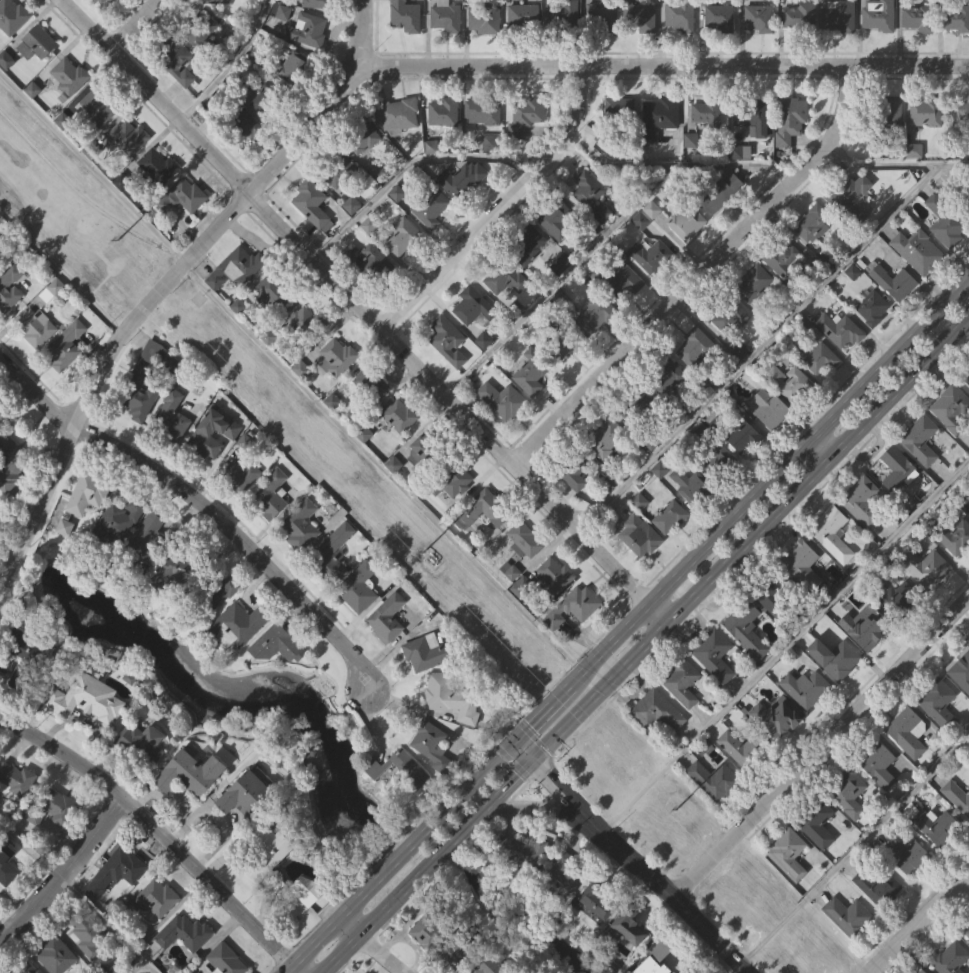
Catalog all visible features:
building: (100, 1)
building: (216, 1)
building: (316, 4)
building: (282, 10)
building: (102, 14)
building: (562, 15)
building: (681, 15)
building: (878, 15)
building: (405, 16)
building: (445, 16)
building: (838, 16)
building: (11, 17)
building: (600, 17)
building: (638, 17)
building: (719, 17)
building: (758, 17)
building: (800, 17)
building: (521, 18)
building: (918, 18)
building: (483, 19)
building: (956, 19)
building: (221, 21)
road: (131, 24)
building: (199, 28)
building: (306, 30)
road: (365, 34)
building: (407, 41)
building: (38, 42)
building: (283, 43)
building: (639, 43)
building: (563, 44)
building: (881, 46)
building: (525, 47)
building: (682, 47)
building: (801, 47)
building: (13, 48)
building: (448, 48)
building: (605, 48)
building: (841, 48)
building: (721, 49)
building: (760, 49)
building: (920, 50)
building: (957, 50)
building: (486, 52)
building: (176, 60)
building: (310, 61)
building: (204, 62)
road: (229, 65)
building: (294, 68)
road: (373, 68)
building: (42, 73)
building: (68, 76)
building: (181, 92)
building: (267, 97)
building: (295, 98)
building: (76, 105)
building: (94, 109)
building: (483, 111)
building: (623, 112)
building: (927, 112)
building: (443, 113)
building: (706, 113)
building: (659, 114)
building: (752, 114)
building: (893, 114)
building: (395, 115)
building: (525, 116)
building: (958, 117)
building: (789, 120)
building: (241, 126)
building: (266, 129)
building: (127, 137)
building: (362, 137)
building: (98, 140)
building: (621, 140)
building: (894, 143)
building: (445, 144)
building: (485, 144)
building: (928, 144)
building: (967, 144)
building: (708, 145)
building: (399, 146)
building: (528, 147)
building: (755, 149)
building: (660, 150)
building: (792, 151)
building: (247, 155)
road: (675, 162)
road: (893, 164)
road: (95, 165)
road: (405, 167)
building: (156, 168)
building: (336, 168)
building: (129, 169)
building: (366, 169)
building: (693, 172)
building: (433, 178)
building: (461, 180)
building: (915, 182)
building: (719, 194)
building: (181, 197)
building: (591, 197)
building: (160, 198)
building: (341, 202)
building: (838, 203)
building: (312, 205)
building: (431, 206)
road: (500, 209)
building: (462, 210)
building: (556, 220)
building: (811, 222)
building: (686, 223)
building: (723, 225)
building: (946, 226)
building: (593, 227)
building: (184, 228)
building: (851, 229)
building: (313, 234)
building: (403, 236)
building: (433, 239)
power tower: (117, 241)
building: (653, 241)
building: (526, 245)
building: (559, 250)
building: (919, 252)
building: (689, 253)
building: (650, 257)
building: (814, 257)
building: (950, 261)
building: (368, 263)
building: (784, 264)
building: (404, 267)
building: (235, 269)
road: (697, 274)
building: (503, 276)
building: (529, 277)
road: (560, 279)
building: (616, 281)
building: (894, 281)
building: (753, 282)
building: (919, 282)
building: (9, 286)
building: (652, 287)
building: (784, 289)
building: (51, 290)
building: (367, 291)
building: (271, 292)
building: (563, 295)
building: (237, 300)
road: (353, 303)
building: (854, 303)
building: (471, 305)
building: (872, 308)
building: (507, 309)
building: (623, 311)
building: (595, 312)
building: (729, 313)
building: (896, 314)
building: (756, 315)
building: (11, 319)
building: (305, 322)
building: (274, 325)
building: (35, 327)
building: (843, 330)
building: (472, 336)
building: (556, 339)
building: (874, 339)
building: (447, 340)
building: (65, 345)
building: (596, 345)
building: (693, 346)
road: (757, 346)
building: (733, 347)
building: (304, 351)
building: (335, 356)
building: (820, 358)
building: (38, 359)
building: (842, 361)
road: (893, 361)
building: (531, 371)
building: (450, 372)
building: (714, 373)
building: (665, 374)
building: (966, 375)
building: (69, 377)
building: (695, 377)
building: (138, 378)
building: (563, 378)
building: (791, 383)
building: (368, 384)
road: (900, 387)
building: (339, 389)
building: (822, 390)
building: (502, 399)
building: (533, 404)
building: (635, 405)
building: (668, 408)
building: (770, 408)
building: (952, 408)
building: (151, 410)
building: (791, 413)
building: (171, 415)
building: (374, 415)
building: (399, 415)
building: (504, 431)
building: (334, 432)
building: (640, 432)
building: (205, 436)
building: (605, 436)
building: (742, 436)
building: (771, 439)
building: (919, 440)
building: (952, 440)
building: (401, 447)
road: (824, 448)
building: (174, 450)
building: (427, 450)
building: (9, 462)
building: (205, 464)
building: (723, 464)
building: (898, 464)
building: (573, 468)
building: (608, 468)
building: (745, 468)
building: (922, 471)
building: (239, 474)
building: (450, 478)
building: (423, 482)
building: (690, 484)
building: (87, 492)
building: (968, 493)
building: (11, 494)
building: (271, 494)
building: (898, 499)
building: (862, 501)
building: (242, 506)
building: (483, 509)
building: (576, 509)
building: (457, 513)
road: (202, 514)
building: (690, 514)
building: (669, 516)
building: (118, 519)
building: (303, 519)
road: (733, 523)
building: (90, 525)
building: (273, 527)
building: (830, 530)
building: (864, 533)
building: (641, 535)
building: (951, 535)
road: (749, 538)
building: (144, 539)
building: (523, 540)
building: (482, 543)
building: (672, 548)
building: (120, 554)
building: (330, 554)
power tower: (422, 555)
building: (303, 557)
building: (803, 564)
building: (643, 567)
building: (835, 567)
building: (926, 567)
building: (957, 567)
road: (14, 568)
building: (149, 570)
building: (171, 570)
building: (527, 571)
building: (555, 575)
building: (335, 584)
building: (358, 586)
building: (213, 594)
building: (805, 596)
building: (895, 597)
building: (927, 599)
building: (776, 600)
building: (512, 602)
building: (170, 606)
building: (572, 607)
road: (657, 613)
building: (522, 616)
building: (386, 617)
building: (360, 619)
building: (743, 623)
building: (236, 625)
building: (772, 626)
building: (898, 627)
building: (868, 629)
building: (575, 638)
road: (614, 640)
building: (275, 644)
building: (389, 649)
road: (786, 649)
building: (431, 652)
building: (714, 654)
building: (239, 657)
building: (868, 658)
building: (19, 659)
building: (748, 659)
building: (837, 659)
building: (961, 669)
building: (278, 676)
building: (682, 682)
building: (716, 686)
building: (806, 688)
building: (839, 690)
building: (441, 692)
road: (597, 692)
building: (85, 698)
building: (938, 702)
building: (963, 703)
road: (545, 711)
building: (656, 711)
building: (684, 713)
building: (467, 717)
building: (774, 719)
building: (808, 719)
building: (452, 729)
building: (89, 730)
building: (908, 732)
building: (940, 735)
building: (659, 743)
building: (431, 744)
building: (138, 746)
building: (743, 748)
road: (820, 748)
building: (777, 749)
road: (519, 755)
building: (910, 763)
building: (878, 764)
building: (397, 769)
building: (188, 771)
building: (145, 774)
building: (432, 775)
building: (740, 778)
building: (14, 779)
building: (713, 779)
building: (246, 790)
building: (848, 792)
building: (881, 796)
building: (956, 796)
road: (565, 799)
building: (401, 800)
building: (193, 803)
road: (530, 807)
building: (52, 808)
power tower: (675, 810)
building: (715, 810)
building: (17, 811)
building: (816, 822)
building: (850, 823)
building: (246, 825)
building: (957, 826)
building: (938, 827)
road: (157, 832)
road: (424, 835)
building: (62, 839)
building: (263, 850)
road: (442, 851)
road: (853, 852)
building: (519, 853)
building: (787, 853)
building: (820, 856)
building: (908, 856)
building: (942, 859)
building: (6, 863)
road: (637, 867)
building: (119, 869)
building: (567, 871)
road: (65, 874)
building: (272, 878)
building: (523, 883)
building: (790, 884)
building: (908, 886)
building: (878, 887)
building: (305, 890)
building: (8, 894)
building: (152, 899)
building: (596, 900)
building: (117, 904)
building: (567, 906)
building: (846, 915)
building: (880, 917)
building: (968, 917)
road: (916, 919)
building: (308, 921)
road: (107, 927)
building: (627, 928)
building: (159, 929)
building: (427, 931)
building: (966, 931)
building: (85, 932)
road: (347, 932)
building: (181, 934)
building: (599, 934)
road: (705, 936)
road: (316, 947)
building: (849, 947)
building: (54, 955)
road: (340, 956)
road: (377, 956)
building: (631, 956)
building: (453, 957)
building: (88, 959)
building: (949, 959)
building: (224, 960)
building: (428, 961)
building: (186, 962)
building: (967, 963)
road: (134, 966)
building: (489, 966)
building: (23, 968)
building: (662, 971)
building: (921, 971)
road: (293, 972)
road: (294, 972)

